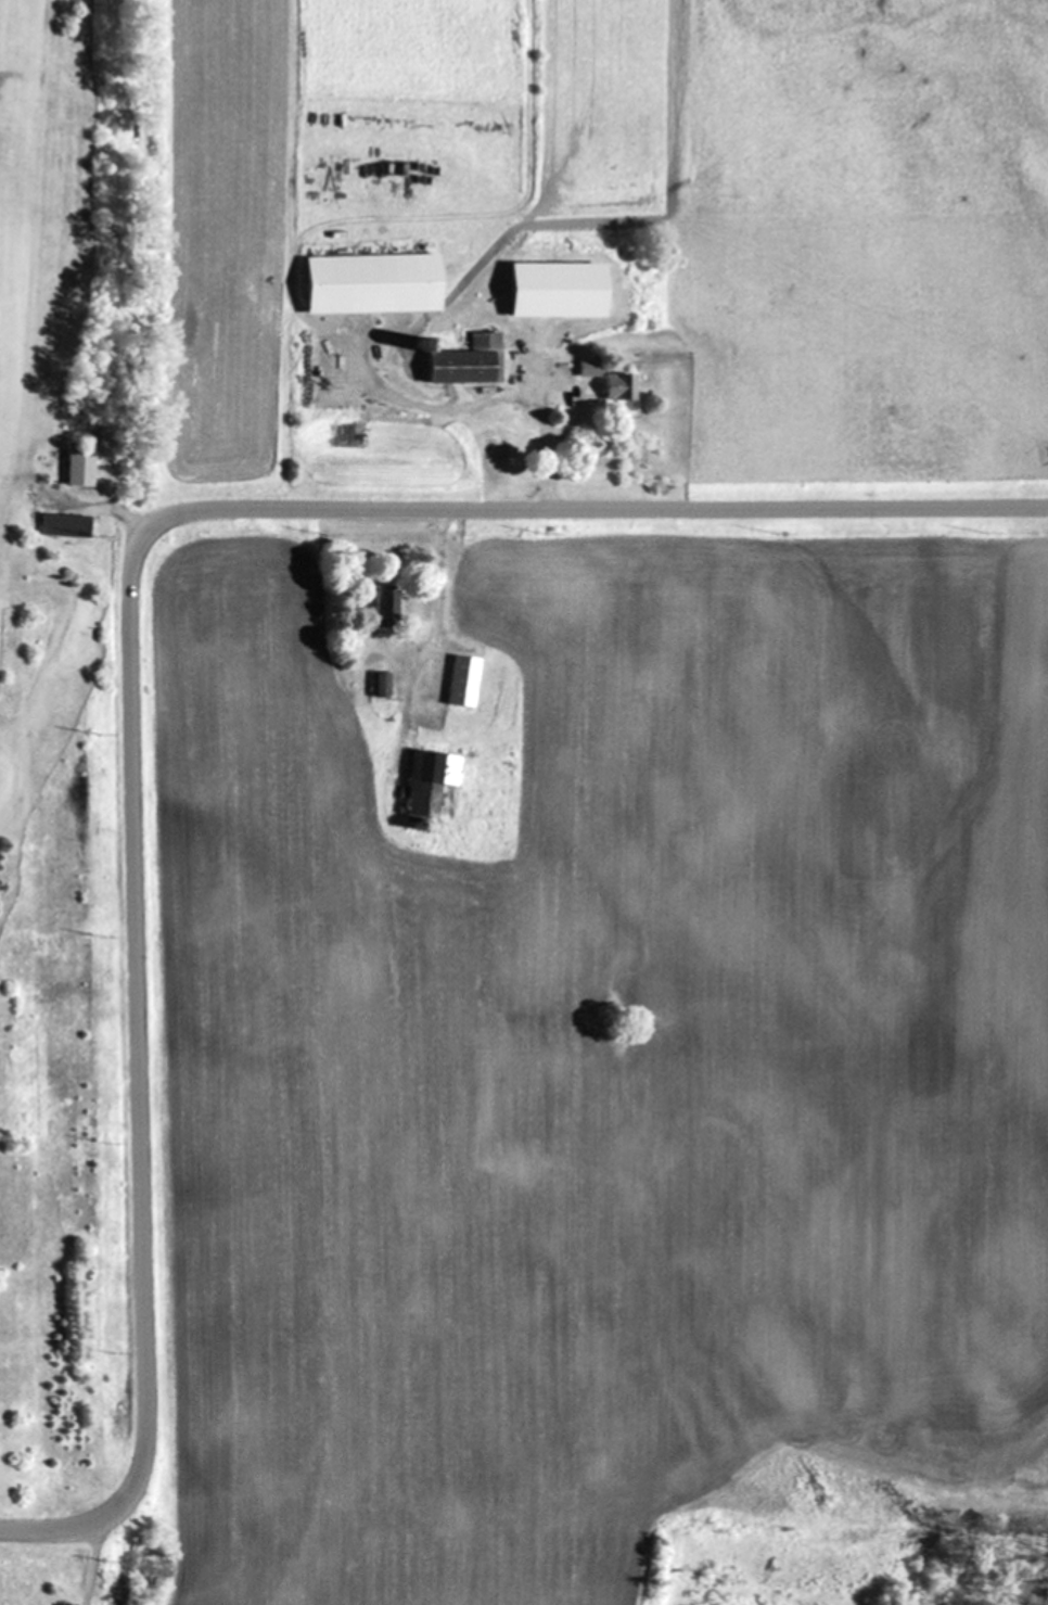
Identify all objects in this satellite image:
building: (365, 283)
building: (551, 290)
building: (411, 344)
building: (464, 361)
building: (626, 386)
road: (537, 392)
building: (79, 463)
building: (64, 522)
building: (380, 602)
road: (132, 633)
building: (461, 680)
building: (380, 683)
building: (425, 780)
park: (80, 813)

